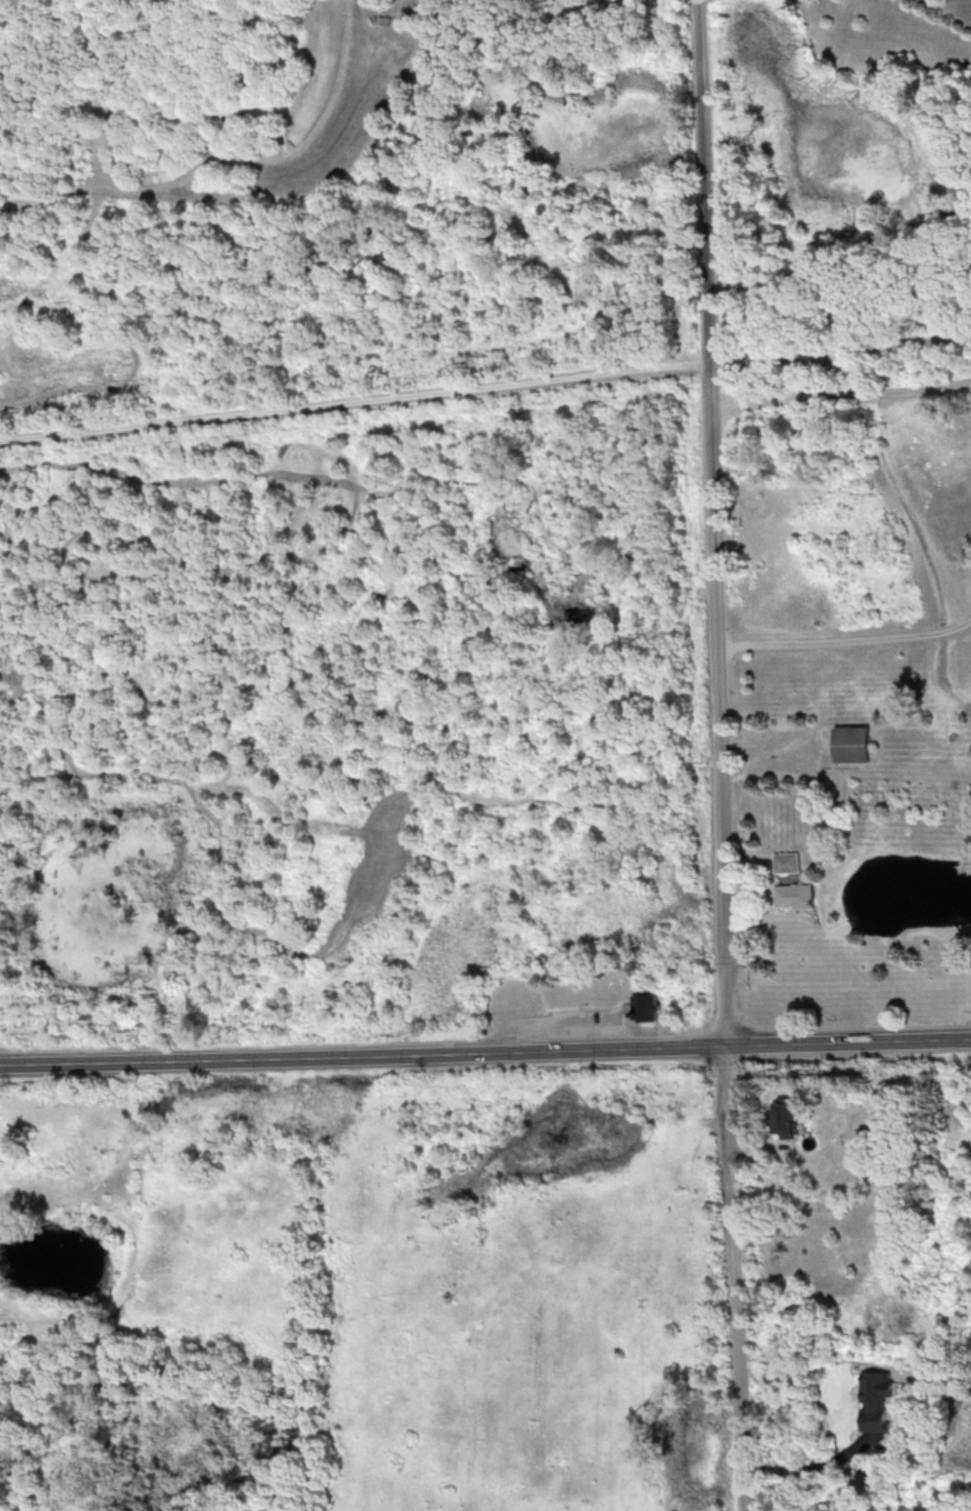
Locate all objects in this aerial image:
road: (838, 270)
parking lot: (776, 356)
park: (485, 386)
road: (485, 387)
road: (840, 398)
road: (844, 642)
building: (851, 743)
road: (717, 755)
building: (785, 861)
building: (792, 895)
building: (643, 1006)
road: (485, 1054)
building: (784, 1117)
building: (874, 1400)
road: (807, 1467)

